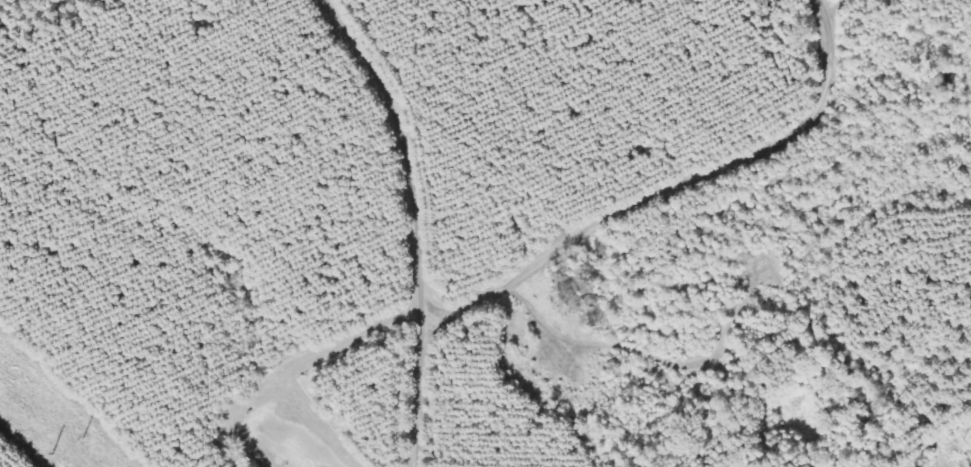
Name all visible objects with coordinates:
road: (842, 8)
road: (383, 157)
road: (681, 193)
road: (431, 393)

